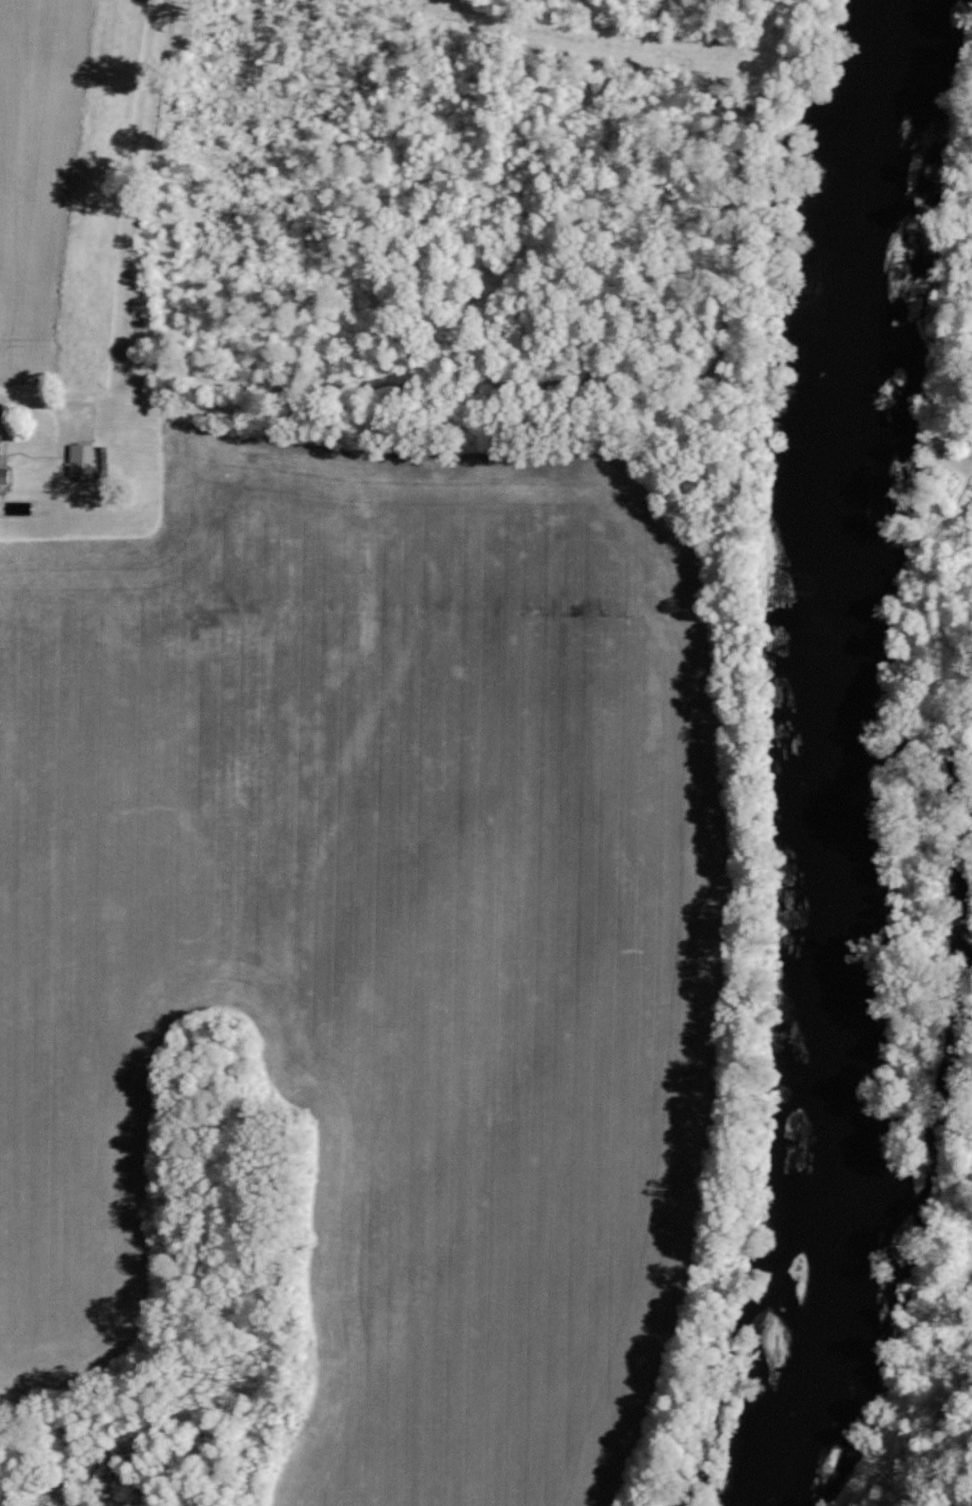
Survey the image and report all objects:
building: (78, 460)
building: (5, 475)
river: (834, 757)

